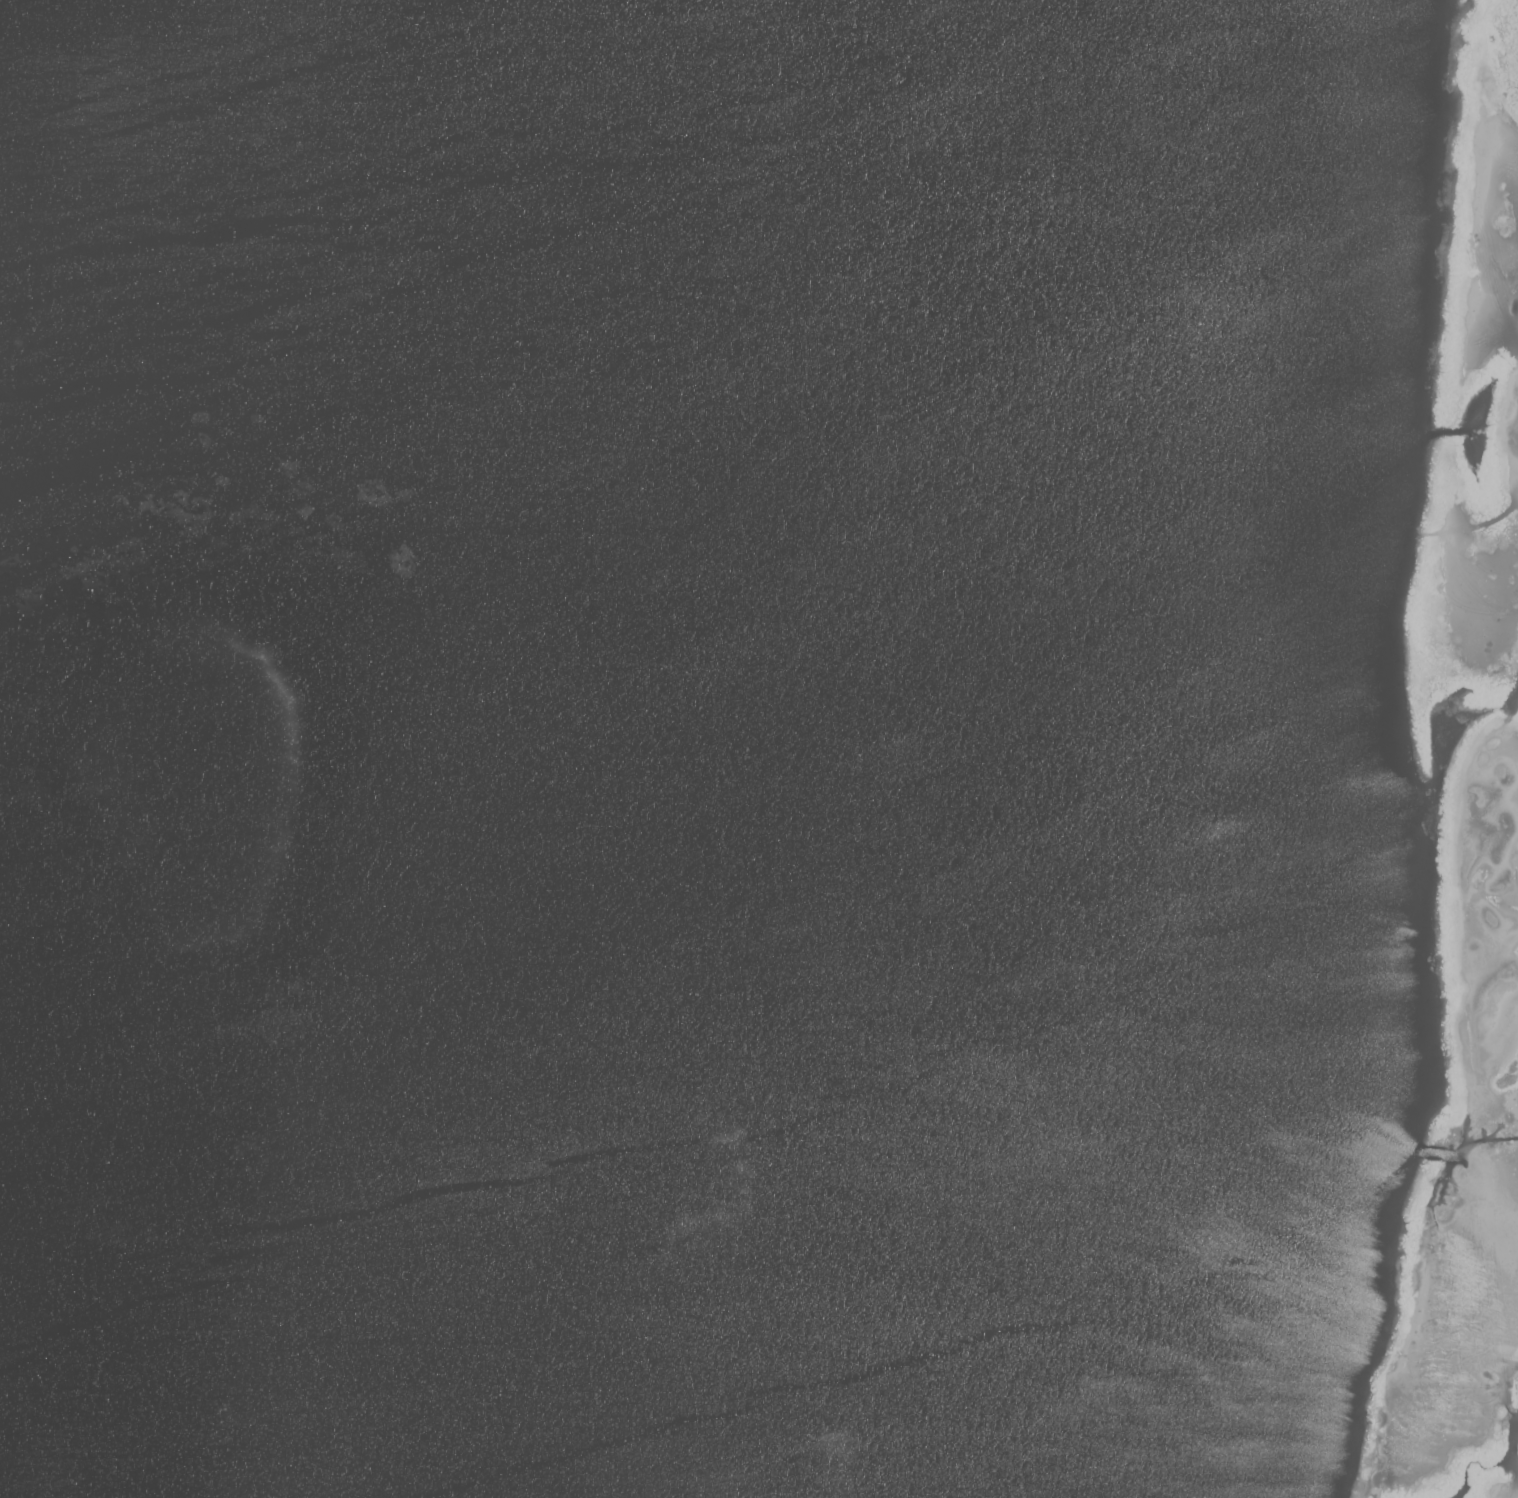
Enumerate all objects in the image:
park: (1357, 913)

